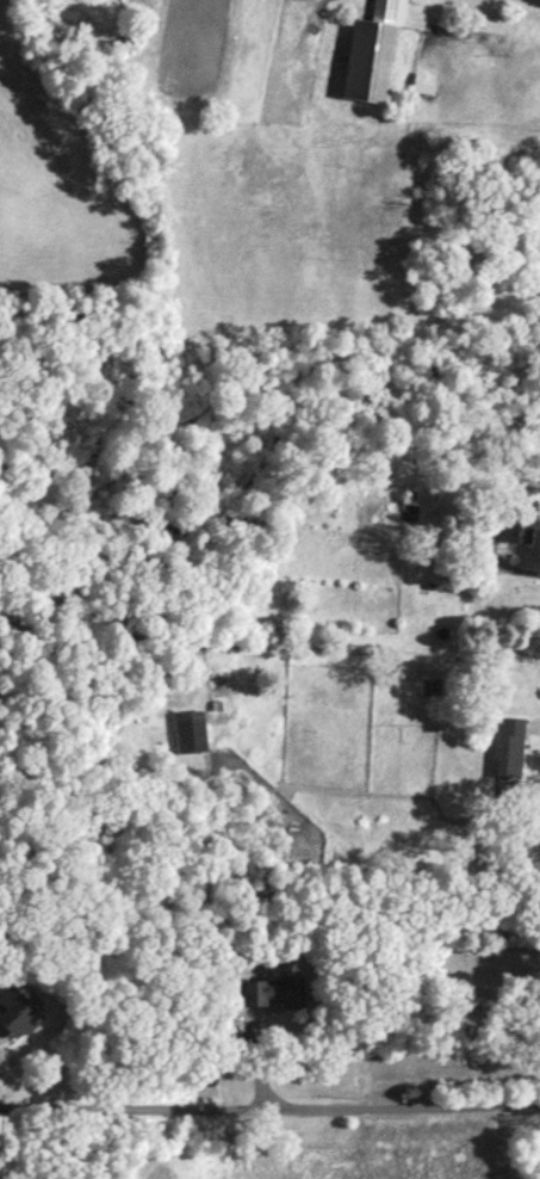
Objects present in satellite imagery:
building: (374, 54)
building: (424, 88)
building: (411, 512)
building: (521, 519)
road: (519, 567)
building: (192, 732)
building: (511, 746)
building: (274, 989)
building: (18, 1011)
road: (269, 1103)

